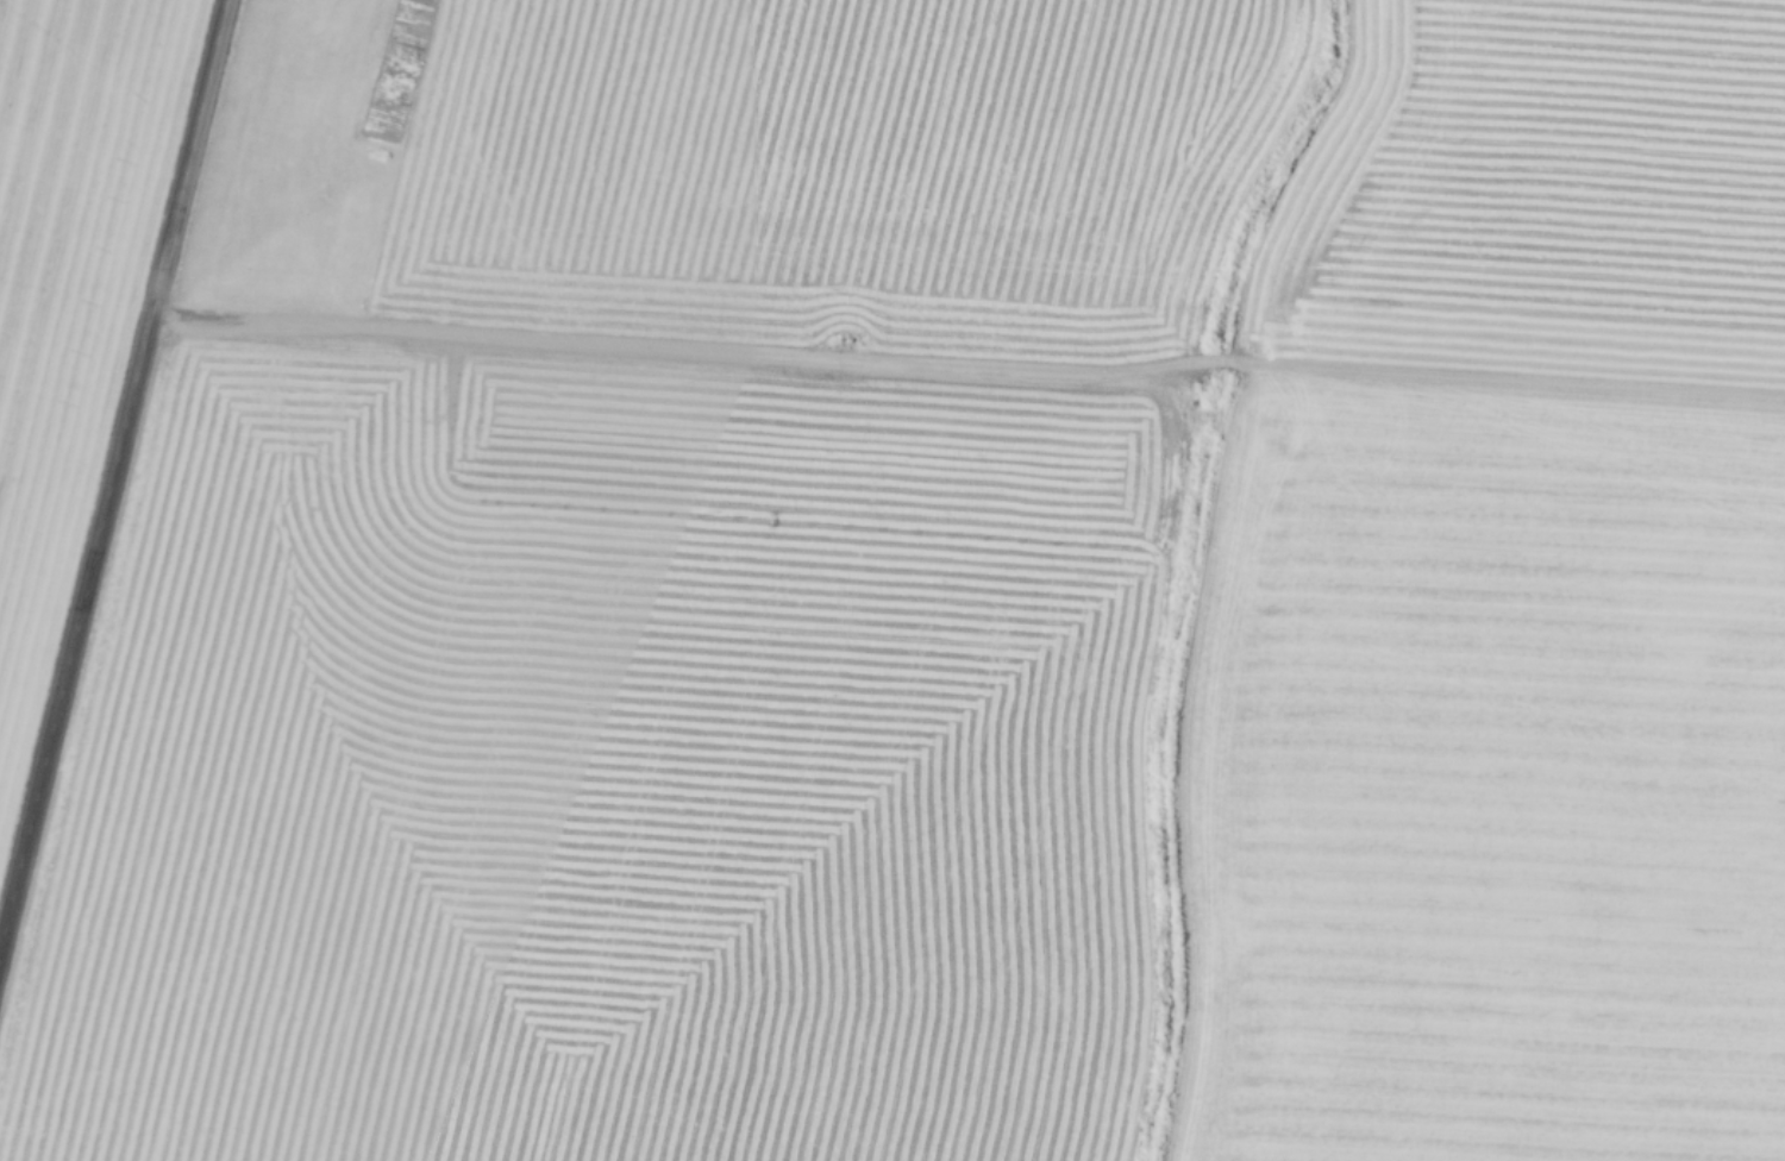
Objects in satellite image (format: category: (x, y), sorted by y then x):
crop: (828, 168)
crop: (1541, 189)
crop: (68, 285)
road: (969, 365)
road: (113, 464)
crop: (1485, 766)
crop: (570, 815)

